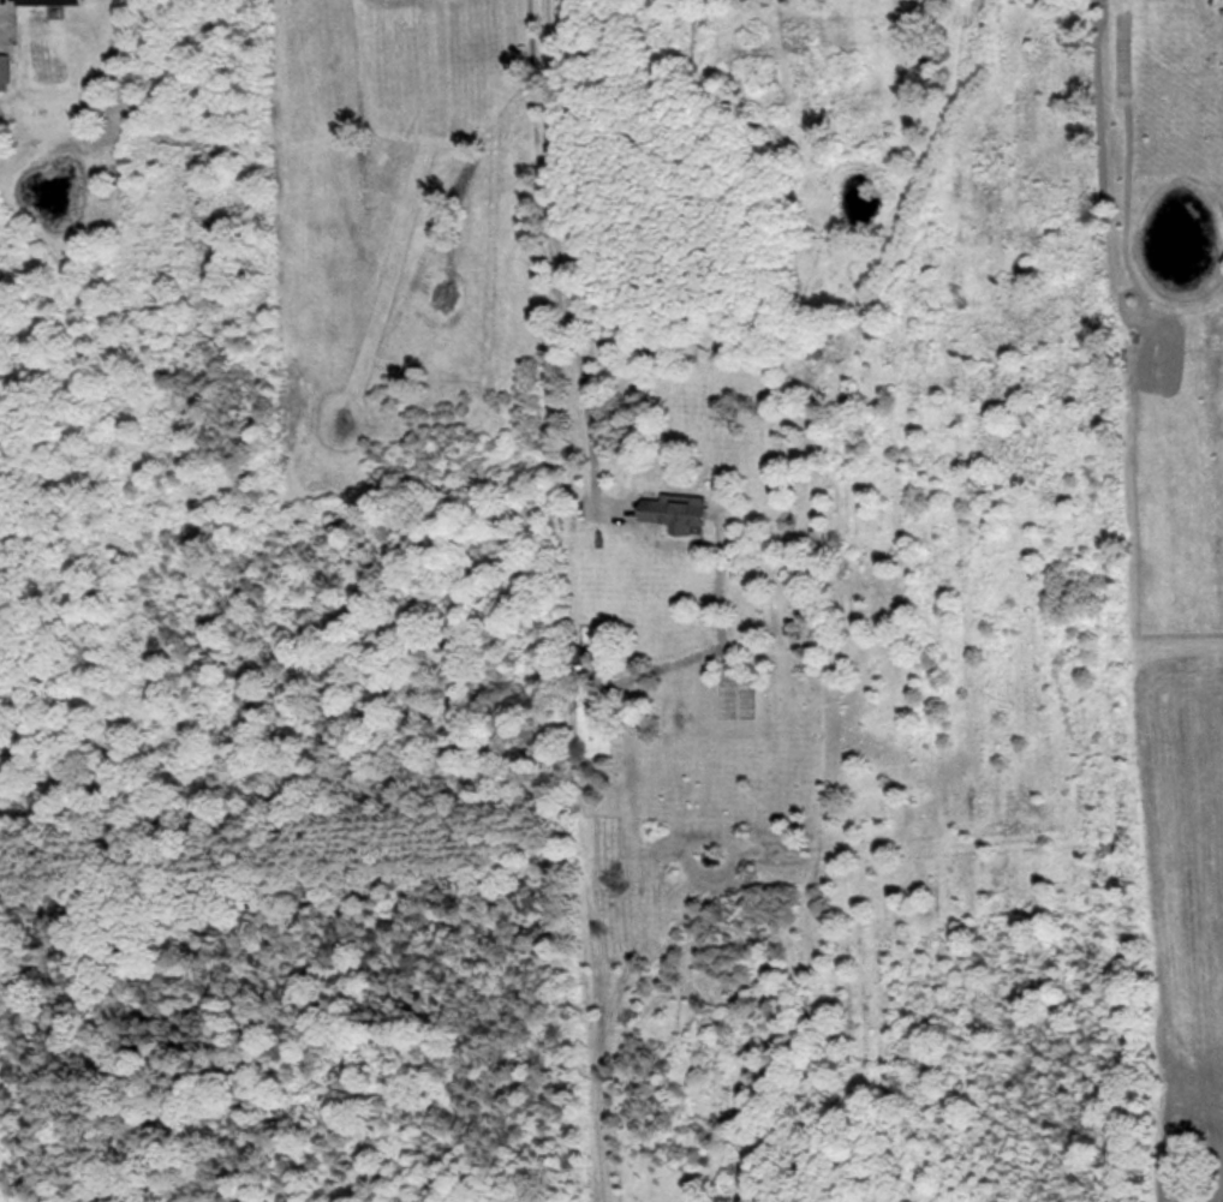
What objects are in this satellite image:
building: (60, 2)
building: (7, 71)
building: (680, 509)

